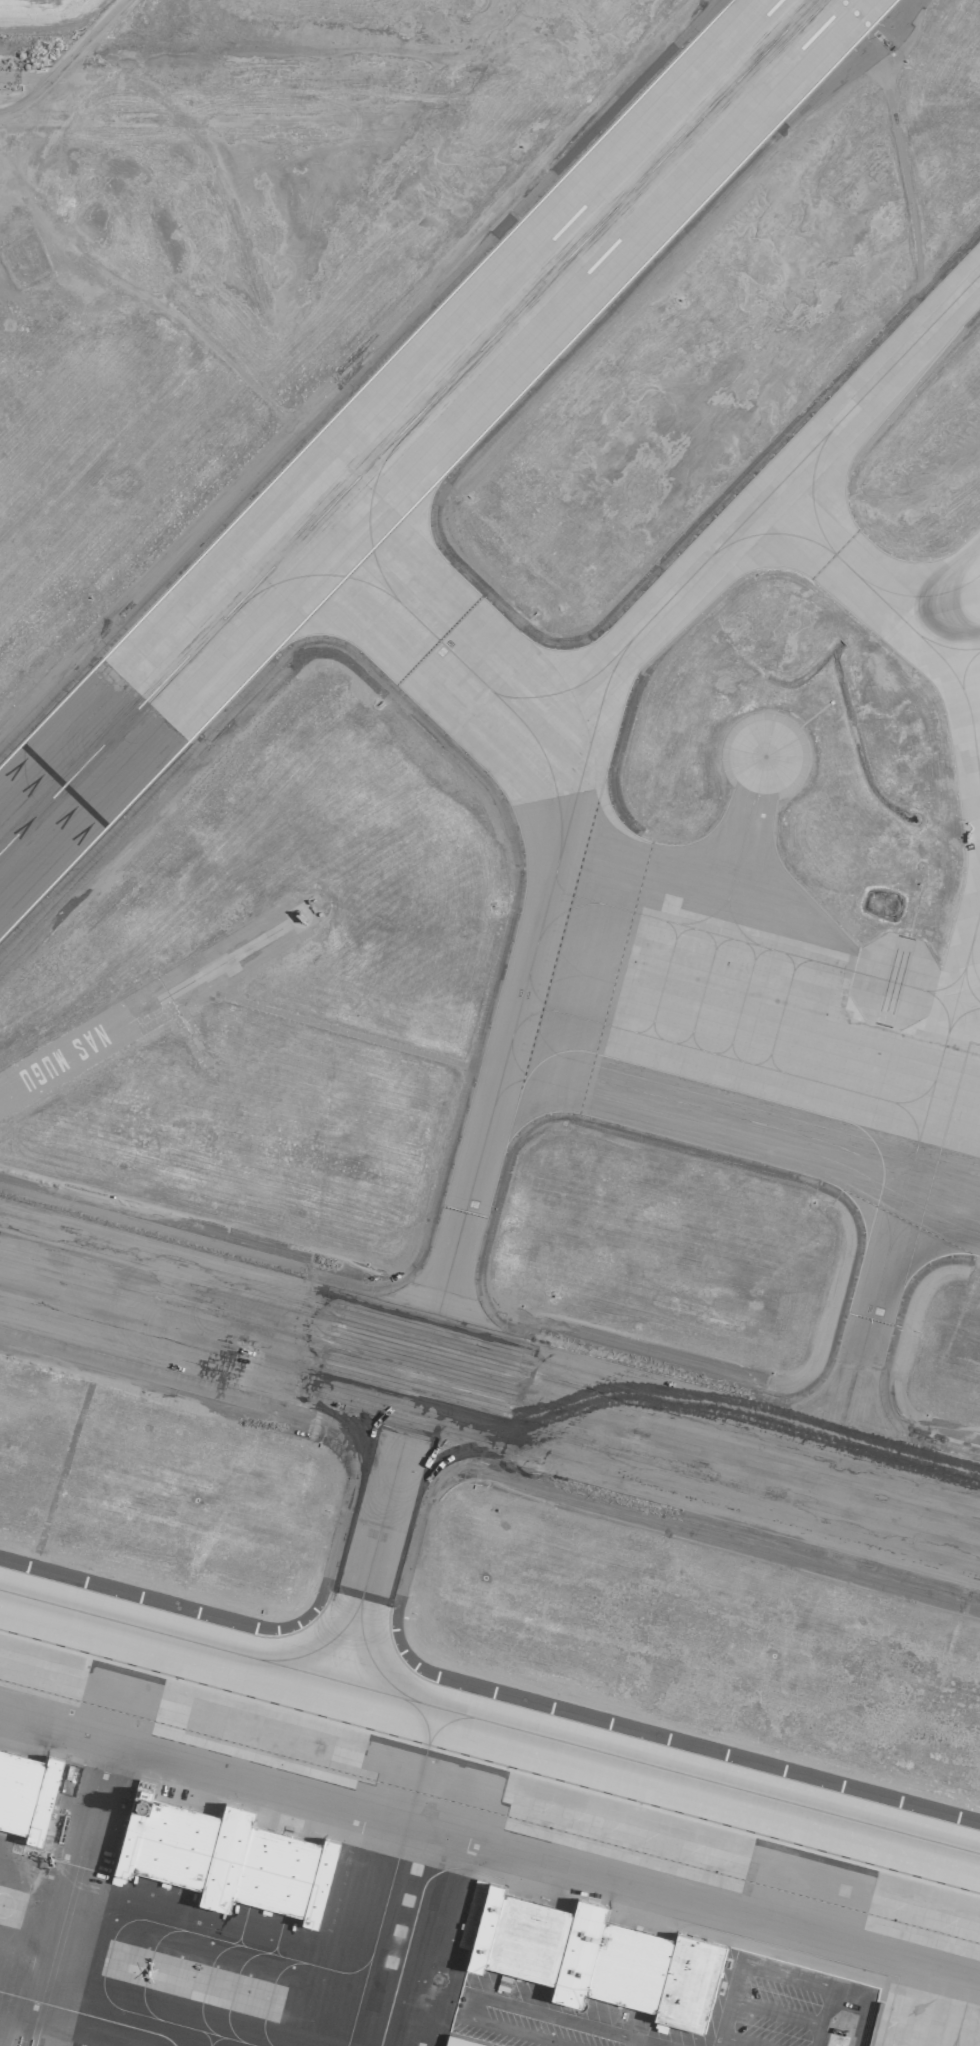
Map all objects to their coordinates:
park: (40, 32)
road: (63, 60)
road: (24, 76)
road: (359, 379)
airport runway: (409, 428)
airport taxiway: (839, 558)
airport taxiway: (436, 633)
helipad: (477, 678)
airport taxiway: (552, 751)
airport apron: (784, 949)
airport: (491, 1025)
airport taxiway: (744, 1138)
airport taxiway: (874, 1341)
airport runway: (490, 1395)
airport taxiway: (381, 1530)
airport taxiway: (170, 1637)
airport taxiway: (660, 1769)
airport hangar: (26, 1795)
building: (26, 1795)
airport apron: (512, 1826)
airport hangar: (225, 1858)
building: (225, 1858)
road: (42, 1951)
airport hangar: (588, 1955)
building: (588, 1955)
airport apron: (282, 1961)
road: (781, 1974)
road: (504, 2004)
road: (725, 2011)
road: (774, 2013)
road: (822, 2016)
road: (737, 2041)
building: (459, 2042)
road: (651, 2045)

